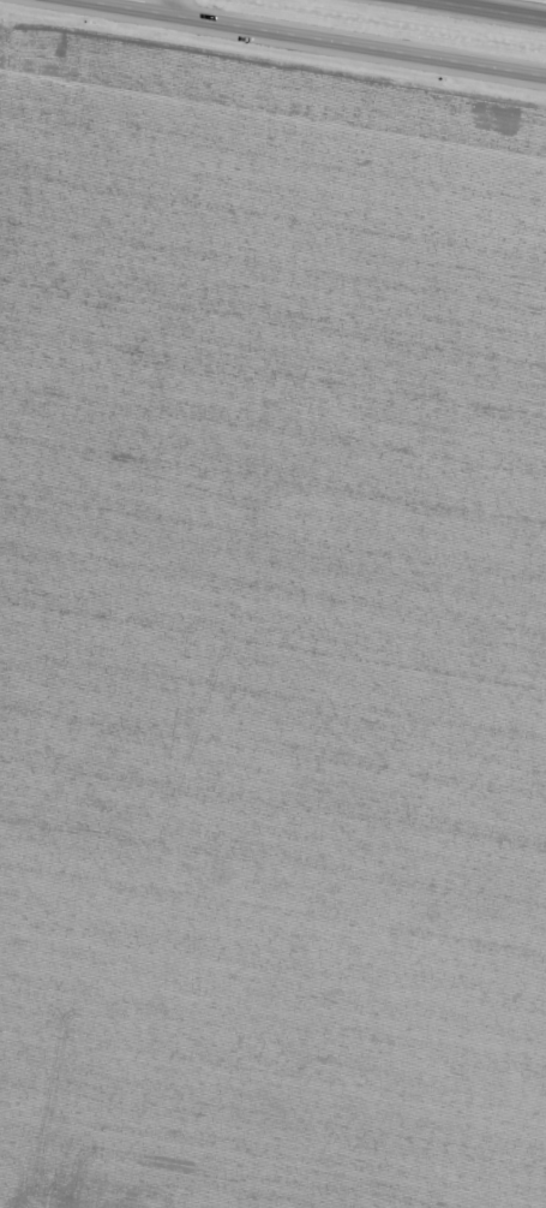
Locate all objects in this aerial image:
road: (168, 6)
road: (491, 8)
road: (316, 37)
crop: (269, 635)

